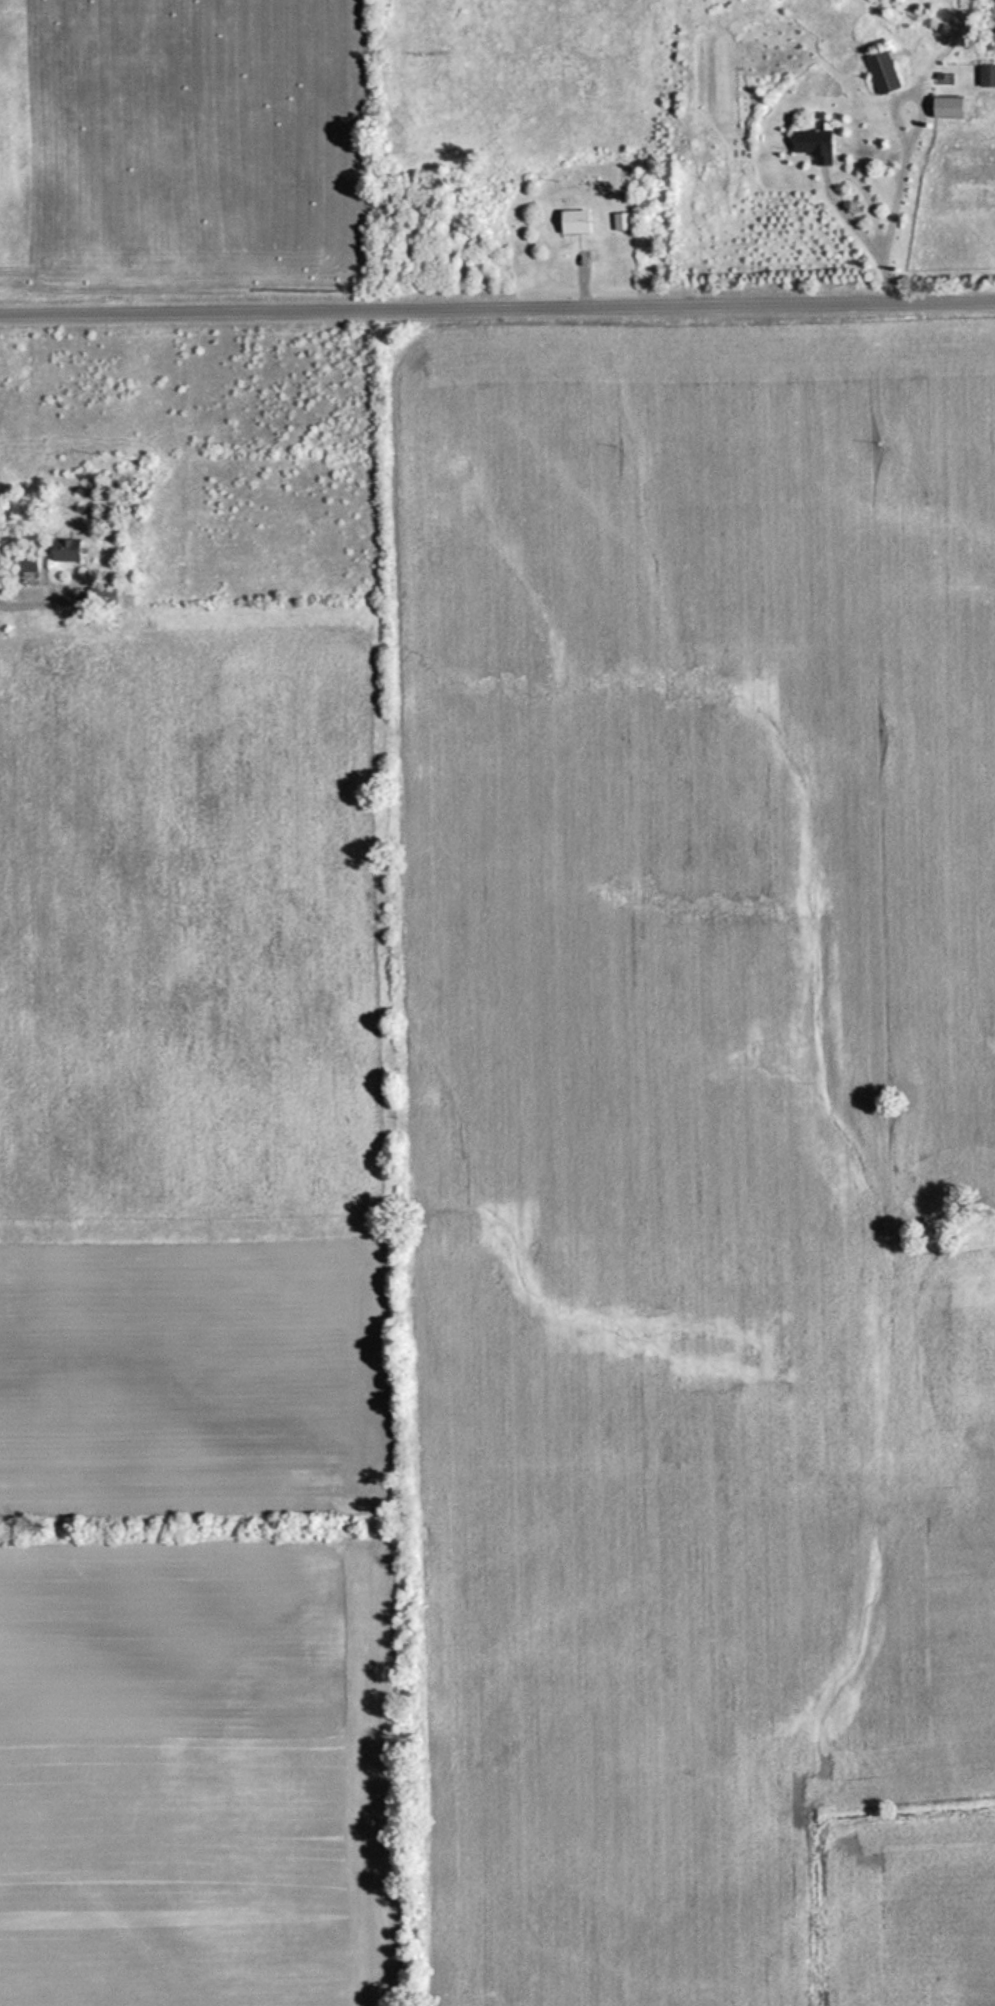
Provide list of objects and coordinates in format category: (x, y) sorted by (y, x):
building: (879, 72)
building: (985, 75)
building: (943, 107)
building: (810, 144)
building: (571, 220)
building: (619, 220)
road: (497, 316)
building: (62, 550)
building: (21, 563)
building: (98, 596)

